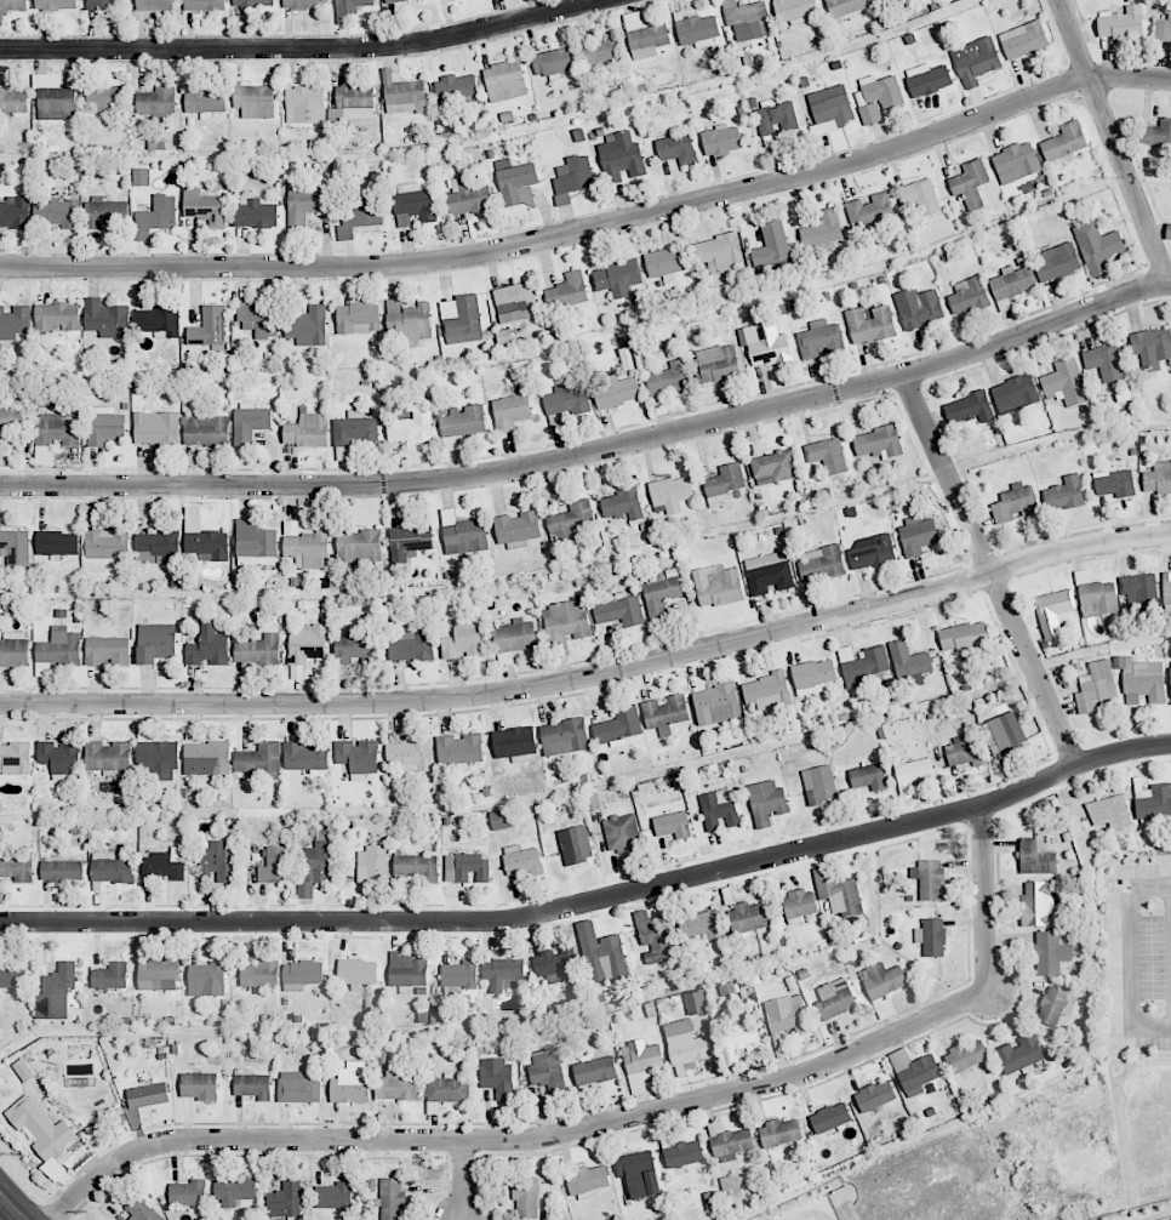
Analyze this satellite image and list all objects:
building: (394, 0)
building: (252, 2)
building: (55, 4)
building: (103, 4)
building: (304, 4)
building: (154, 5)
building: (204, 5)
building: (11, 6)
building: (350, 6)
building: (844, 6)
building: (795, 11)
building: (747, 19)
building: (1120, 23)
building: (1163, 29)
building: (697, 30)
building: (644, 36)
building: (1023, 40)
road: (305, 50)
building: (599, 53)
building: (975, 61)
building: (552, 62)
building: (927, 79)
building: (504, 81)
building: (456, 87)
building: (401, 93)
building: (53, 97)
building: (104, 97)
building: (876, 97)
building: (204, 99)
building: (12, 101)
building: (156, 101)
building: (255, 101)
building: (304, 104)
building: (352, 104)
building: (830, 104)
building: (776, 119)
building: (1156, 133)
building: (720, 139)
building: (1063, 142)
road: (1114, 142)
building: (676, 148)
building: (619, 156)
building: (1015, 163)
building: (573, 175)
building: (141, 176)
building: (515, 182)
building: (970, 183)
building: (920, 196)
building: (469, 199)
building: (303, 203)
building: (413, 204)
building: (204, 207)
building: (15, 212)
building: (57, 212)
building: (105, 213)
building: (255, 213)
building: (361, 213)
building: (870, 213)
building: (155, 217)
road: (594, 224)
building: (822, 229)
building: (1169, 233)
building: (1097, 246)
building: (719, 252)
building: (666, 261)
building: (1056, 262)
building: (616, 278)
building: (1011, 285)
building: (567, 291)
building: (969, 296)
building: (513, 302)
building: (919, 307)
building: (57, 317)
building: (107, 318)
building: (258, 318)
building: (358, 318)
building: (158, 320)
building: (410, 320)
building: (461, 320)
building: (13, 323)
building: (870, 324)
building: (209, 326)
building: (308, 326)
building: (819, 338)
building: (765, 343)
building: (1152, 347)
building: (718, 363)
building: (1104, 363)
building: (668, 377)
building: (1064, 383)
building: (615, 390)
building: (1016, 394)
building: (566, 399)
building: (970, 407)
building: (510, 411)
building: (10, 421)
building: (463, 421)
building: (249, 422)
building: (104, 426)
building: (411, 427)
building: (57, 428)
building: (156, 428)
building: (355, 429)
building: (206, 431)
building: (307, 431)
building: (876, 443)
road: (596, 452)
building: (828, 455)
building: (773, 467)
building: (1158, 478)
building: (724, 483)
building: (1114, 483)
building: (1066, 492)
building: (670, 494)
building: (1013, 503)
building: (622, 504)
building: (570, 520)
building: (518, 529)
building: (462, 532)
building: (916, 535)
building: (204, 538)
building: (253, 541)
building: (57, 542)
building: (409, 542)
building: (304, 546)
building: (358, 546)
building: (16, 547)
building: (156, 547)
building: (104, 549)
building: (870, 552)
building: (822, 563)
road: (990, 569)
building: (769, 572)
building: (718, 585)
building: (661, 591)
building: (1139, 591)
building: (1166, 591)
building: (1097, 598)
building: (619, 611)
building: (1053, 611)
building: (566, 621)
building: (964, 637)
building: (513, 639)
building: (463, 640)
building: (155, 643)
building: (308, 643)
building: (207, 645)
building: (411, 645)
building: (58, 646)
building: (355, 646)
building: (13, 649)
building: (107, 650)
building: (257, 650)
building: (862, 665)
building: (909, 665)
building: (812, 675)
road: (593, 678)
building: (1170, 678)
building: (1141, 680)
building: (1095, 686)
building: (766, 691)
building: (716, 703)
building: (664, 713)
building: (618, 728)
building: (1004, 732)
building: (564, 736)
building: (514, 742)
building: (459, 749)
building: (965, 752)
building: (410, 754)
building: (108, 756)
building: (205, 756)
building: (305, 756)
building: (59, 757)
building: (155, 757)
building: (358, 757)
building: (15, 758)
building: (258, 759)
building: (912, 773)
building: (868, 776)
building: (819, 783)
building: (1152, 800)
building: (766, 802)
building: (719, 809)
building: (1109, 811)
building: (502, 819)
building: (672, 825)
building: (621, 833)
building: (575, 844)
building: (1036, 857)
building: (521, 860)
building: (217, 861)
building: (320, 862)
building: (164, 863)
building: (372, 863)
building: (275, 865)
building: (110, 867)
building: (416, 867)
building: (465, 867)
building: (16, 870)
building: (61, 871)
building: (927, 879)
building: (304, 890)
building: (838, 891)
road: (595, 901)
road: (984, 901)
building: (1038, 903)
building: (799, 906)
building: (747, 918)
building: (702, 924)
building: (931, 936)
building: (652, 939)
building: (604, 950)
building: (1049, 953)
road: (1130, 958)
building: (554, 963)
building: (406, 970)
building: (258, 973)
building: (356, 973)
building: (502, 973)
building: (12, 974)
building: (301, 974)
building: (458, 974)
building: (156, 975)
building: (109, 976)
building: (206, 979)
building: (882, 979)
building: (56, 992)
building: (834, 998)
building: (695, 1003)
building: (1055, 1005)
building: (738, 1036)
building: (686, 1043)
building: (1021, 1054)
building: (966, 1056)
building: (640, 1064)
building: (545, 1070)
building: (594, 1070)
building: (23, 1071)
building: (914, 1071)
building: (497, 1077)
building: (350, 1083)
building: (251, 1084)
building: (198, 1085)
building: (395, 1085)
building: (297, 1087)
building: (447, 1089)
building: (147, 1095)
building: (874, 1095)
building: (829, 1117)
building: (42, 1133)
building: (779, 1133)
road: (518, 1141)
building: (727, 1141)
building: (682, 1153)
building: (639, 1174)
building: (587, 1180)
road: (461, 1181)
building: (730, 1185)
building: (234, 1191)
building: (188, 1193)
building: (333, 1195)
building: (526, 1197)
building: (392, 1198)
building: (285, 1199)
building: (710, 1201)
road: (11, 1208)
building: (142, 1210)
road: (811, 1216)

